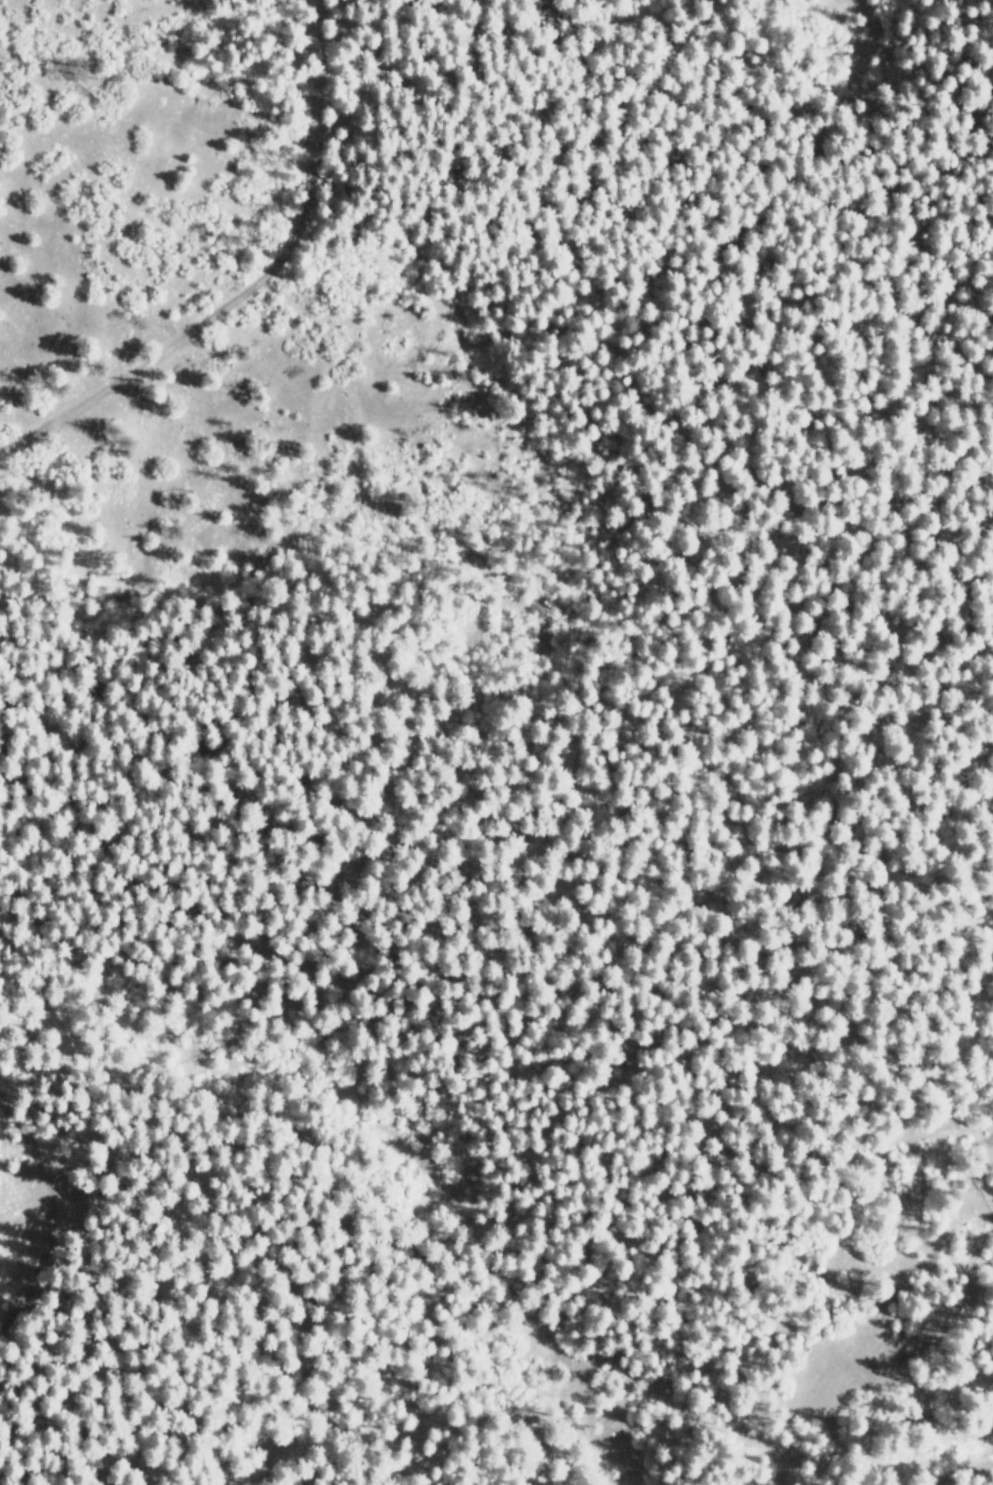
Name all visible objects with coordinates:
road: (253, 284)
road: (50, 1215)
road: (972, 1455)
road: (954, 1474)

